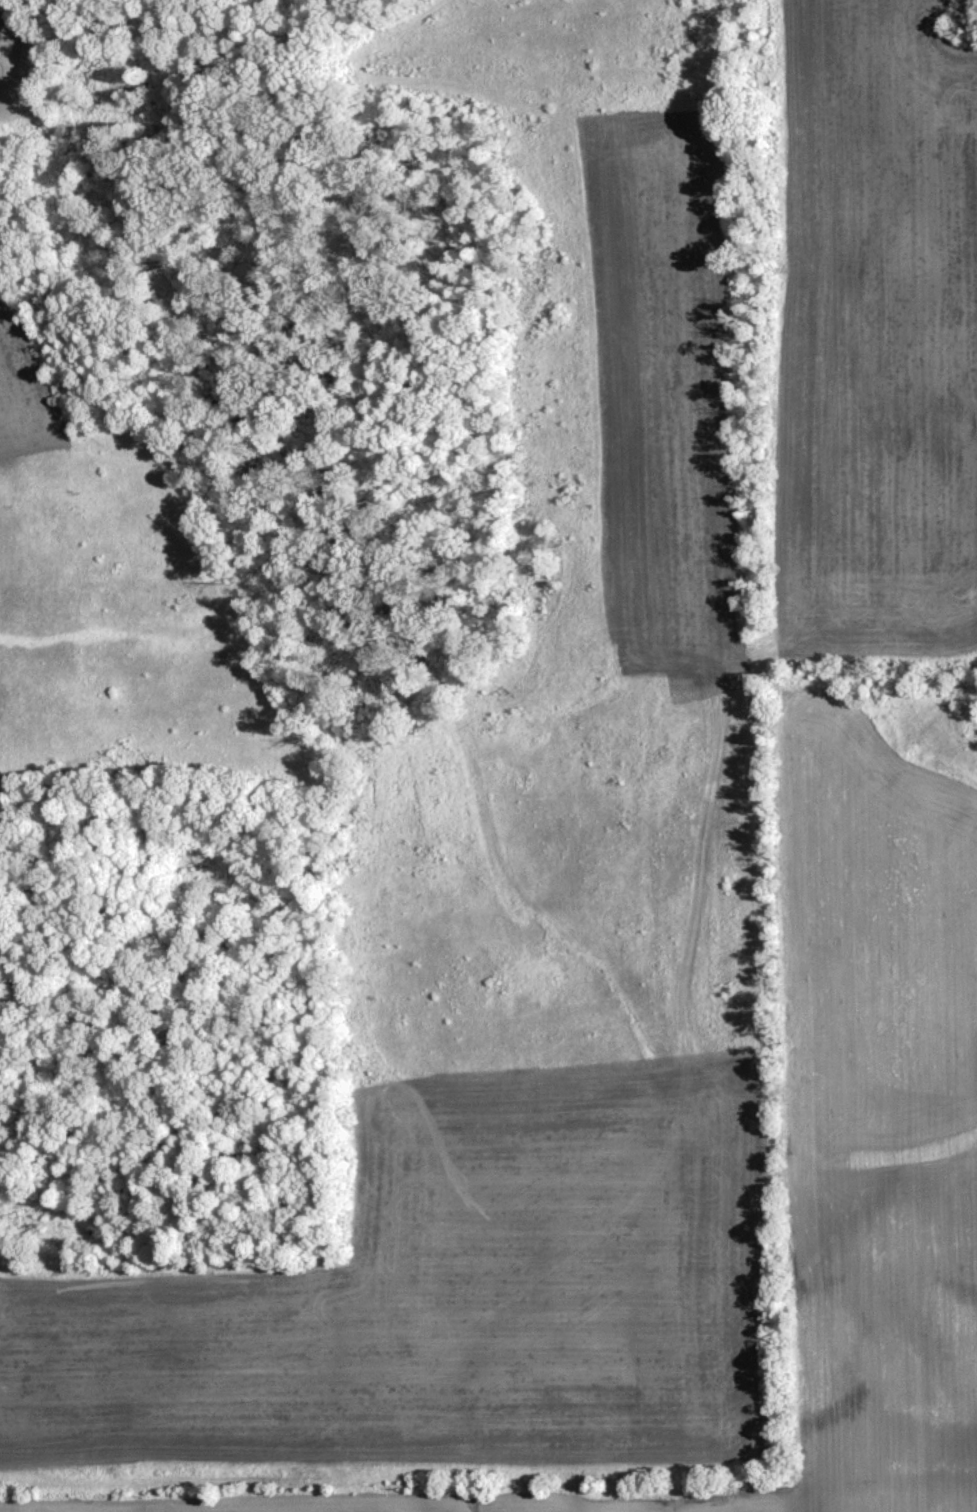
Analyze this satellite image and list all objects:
road: (423, 1495)

